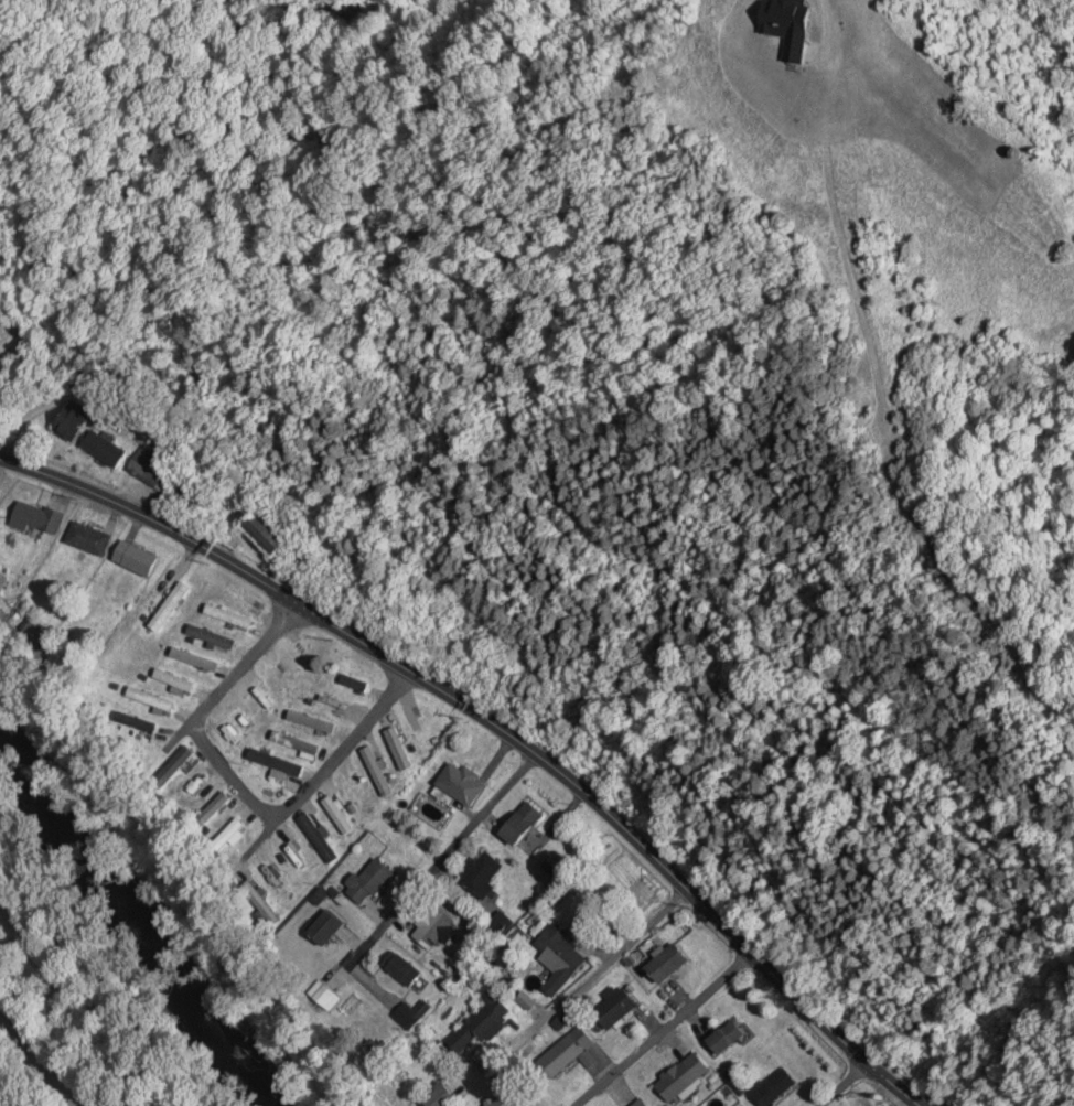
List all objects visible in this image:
building: (776, 46)
building: (68, 419)
building: (101, 449)
building: (151, 468)
building: (34, 517)
building: (261, 531)
building: (87, 538)
building: (133, 558)
building: (243, 597)
building: (176, 602)
building: (227, 615)
building: (210, 636)
building: (194, 658)
building: (279, 678)
building: (172, 679)
building: (353, 681)
building: (149, 699)
building: (332, 701)
building: (245, 720)
building: (311, 721)
building: (138, 722)
road: (498, 727)
building: (415, 728)
building: (294, 742)
building: (275, 762)
building: (173, 766)
building: (375, 771)
building: (458, 783)
road: (243, 788)
building: (354, 792)
building: (213, 808)
building: (518, 823)
road: (265, 834)
building: (316, 836)
building: (226, 837)
building: (294, 852)
road: (443, 860)
building: (480, 873)
building: (365, 881)
building: (278, 883)
river: (135, 925)
building: (321, 927)
building: (432, 928)
building: (560, 949)
building: (663, 964)
building: (399, 967)
road: (594, 971)
building: (326, 994)
building: (526, 999)
building: (612, 1008)
building: (410, 1012)
building: (475, 1027)
road: (665, 1030)
building: (723, 1038)
railway: (47, 1056)
building: (560, 1056)
building: (683, 1077)
road: (845, 1084)
building: (772, 1087)
building: (438, 1095)
building: (637, 1103)

